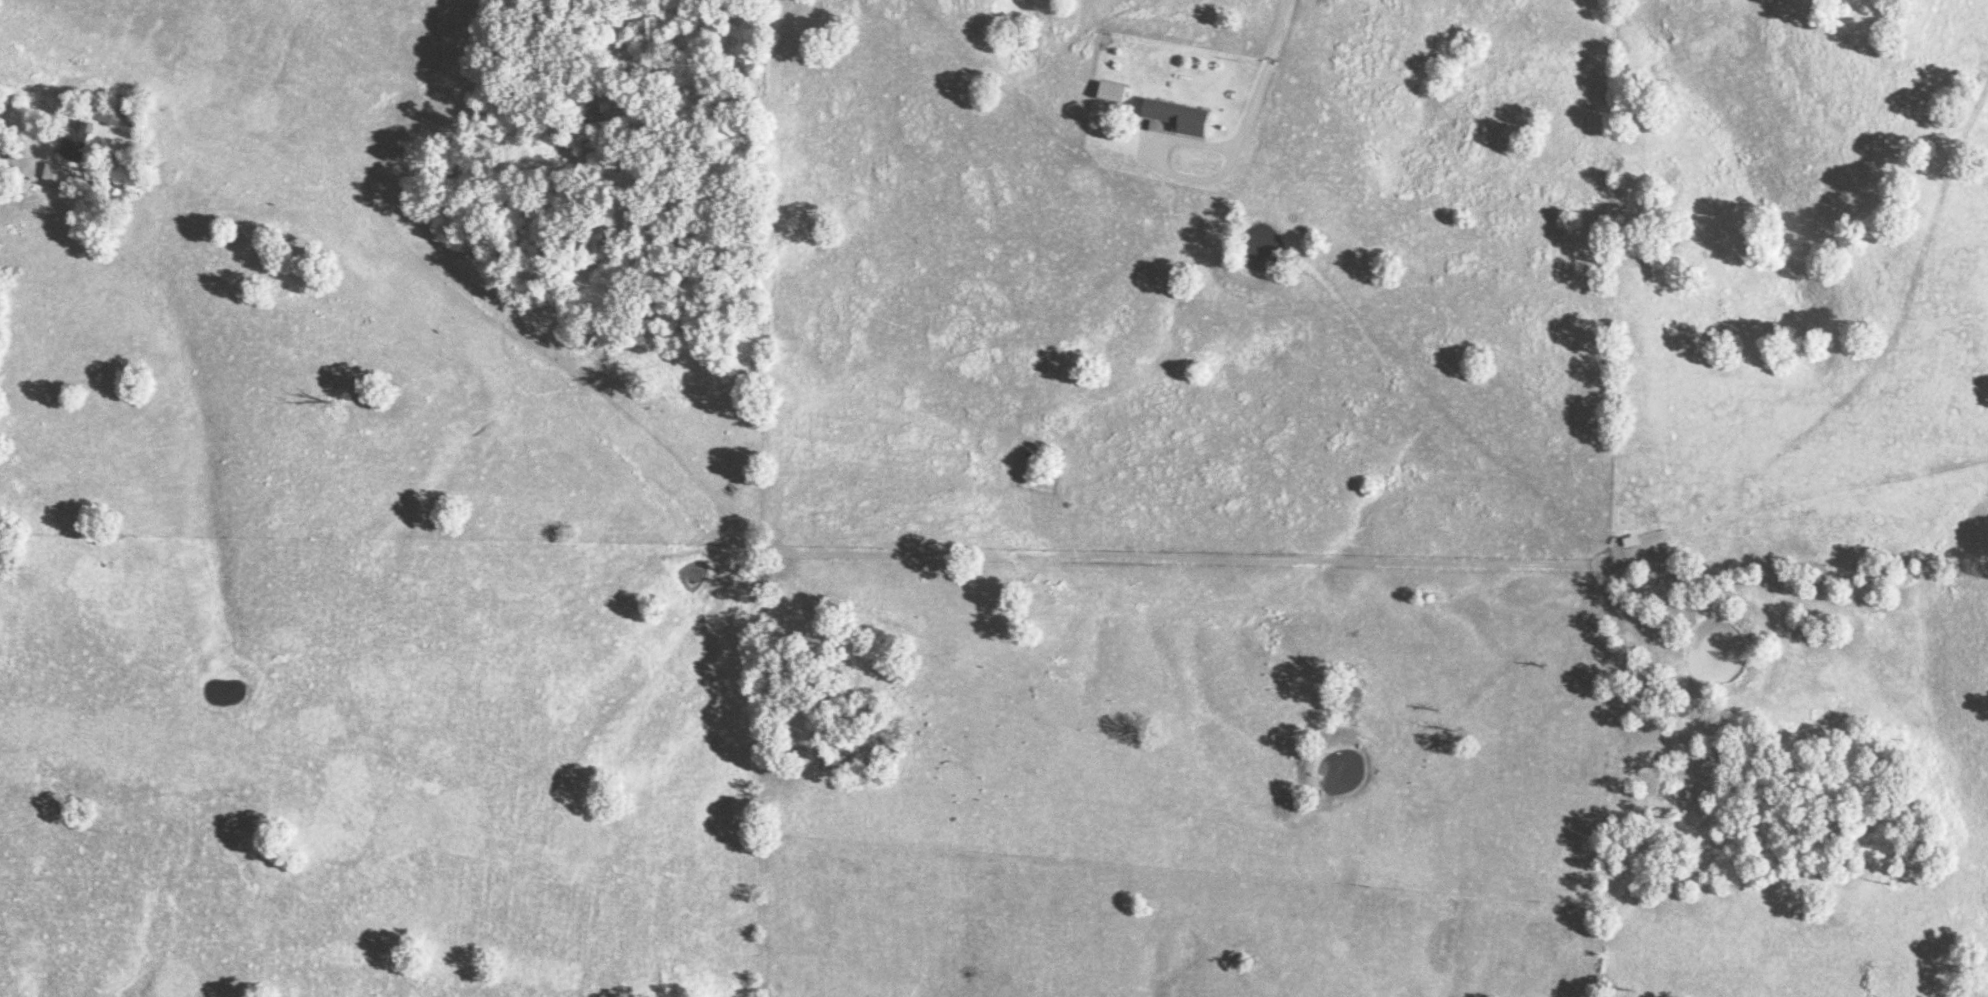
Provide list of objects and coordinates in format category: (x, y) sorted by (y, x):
building: (107, 116)
building: (1172, 119)
building: (75, 142)
building: (53, 175)

